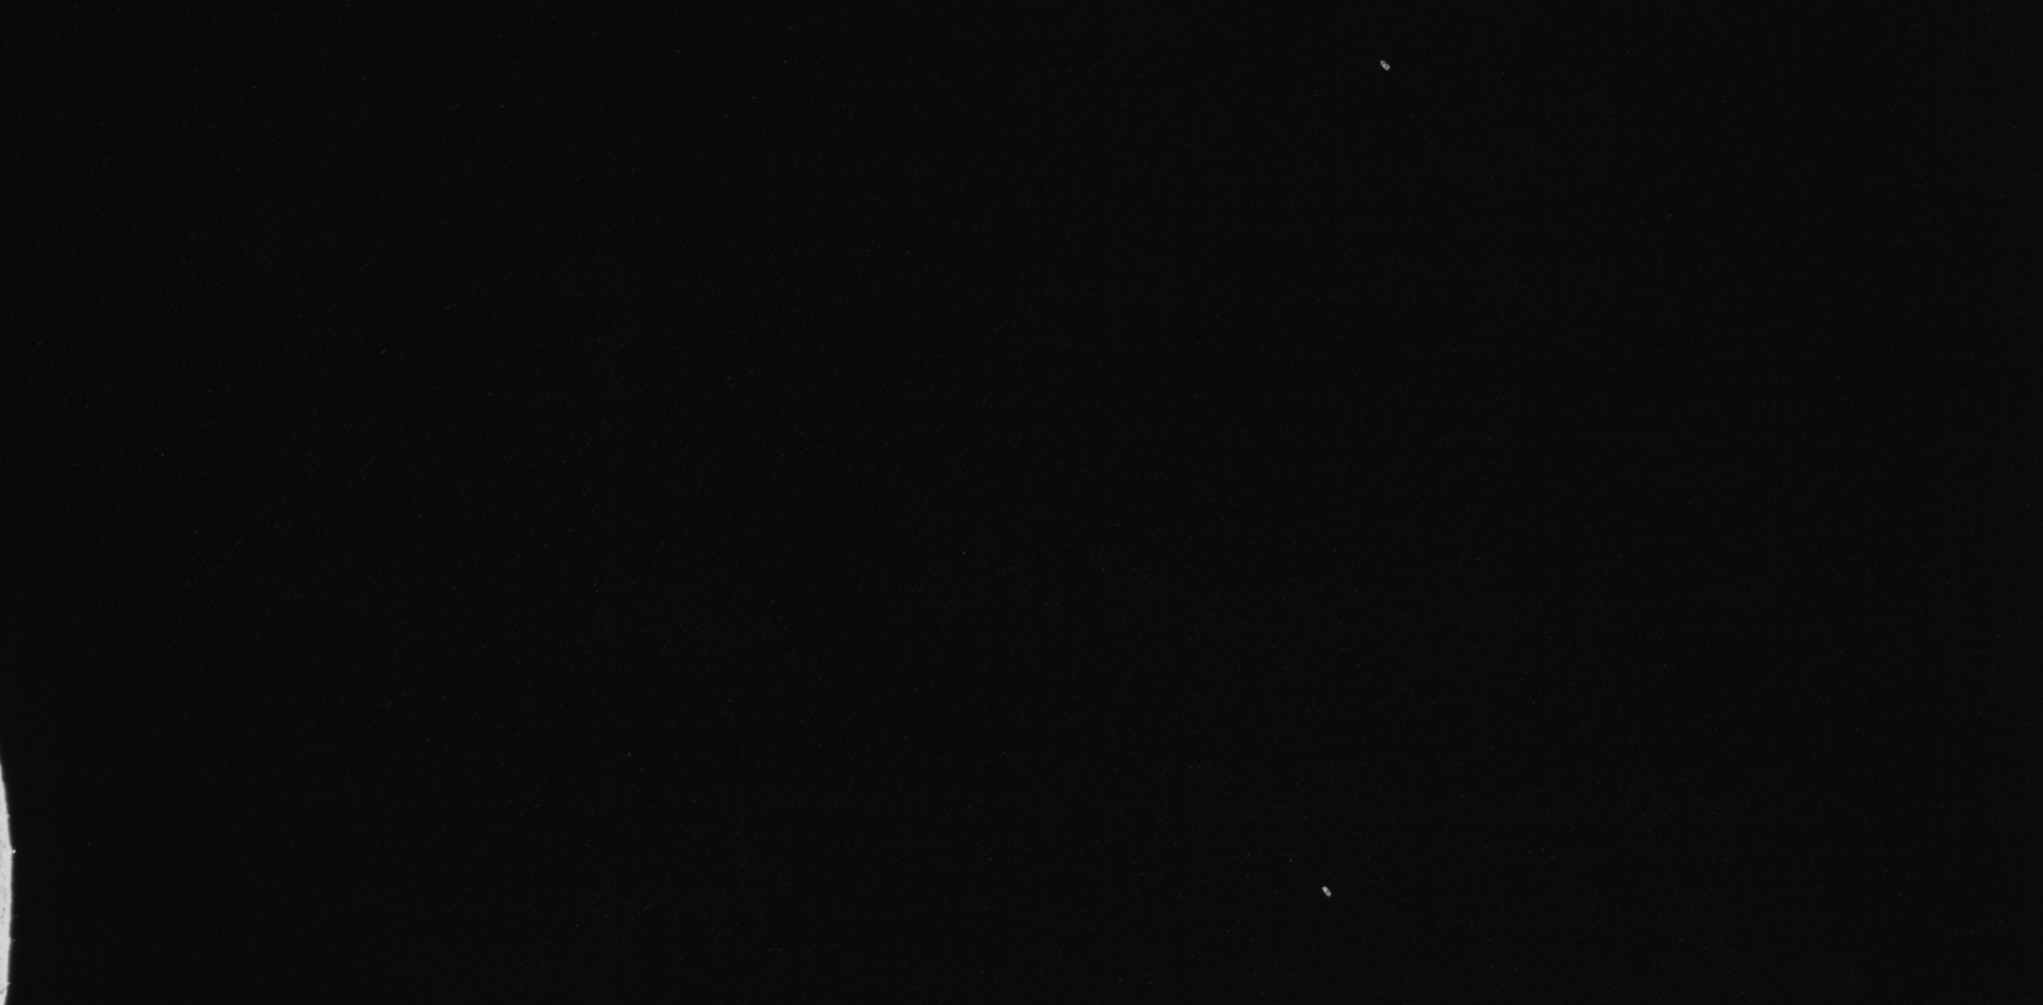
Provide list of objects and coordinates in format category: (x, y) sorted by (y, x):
river: (705, 502)

